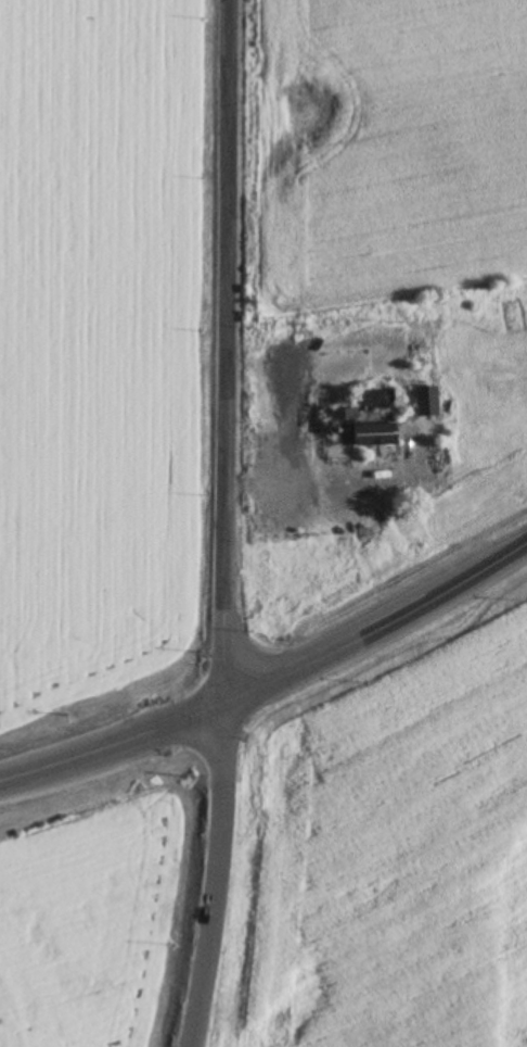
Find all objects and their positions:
road: (232, 354)
building: (361, 427)
road: (373, 636)
road: (106, 744)
road: (217, 876)

